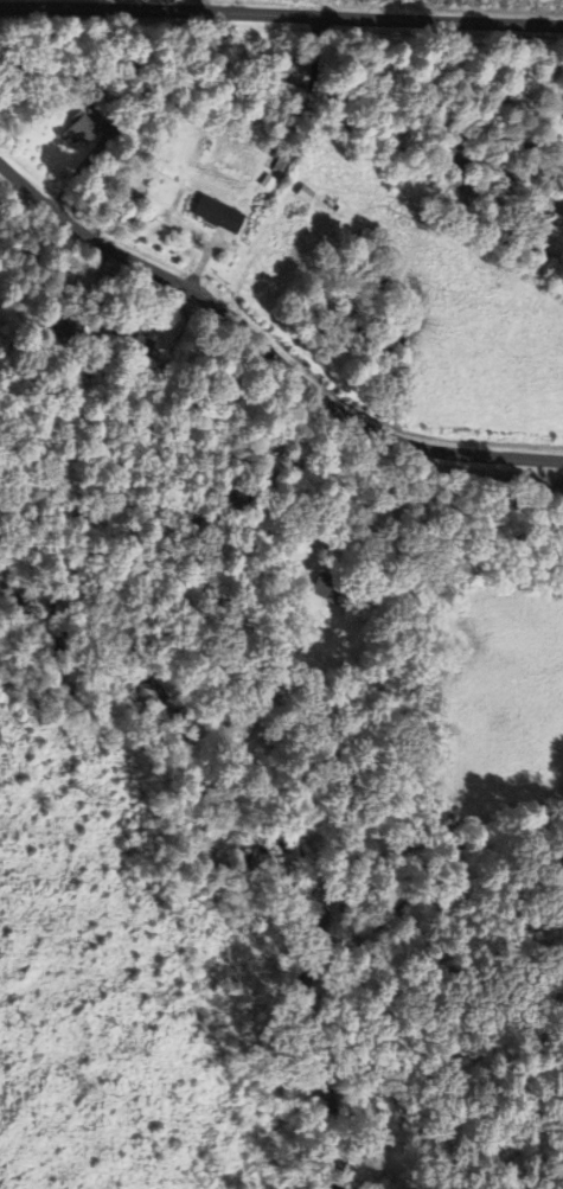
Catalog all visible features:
road: (281, 14)
building: (79, 73)
building: (293, 76)
building: (113, 101)
building: (83, 128)
building: (265, 179)
building: (219, 213)
building: (68, 325)
building: (142, 346)
road: (268, 351)
building: (326, 586)

